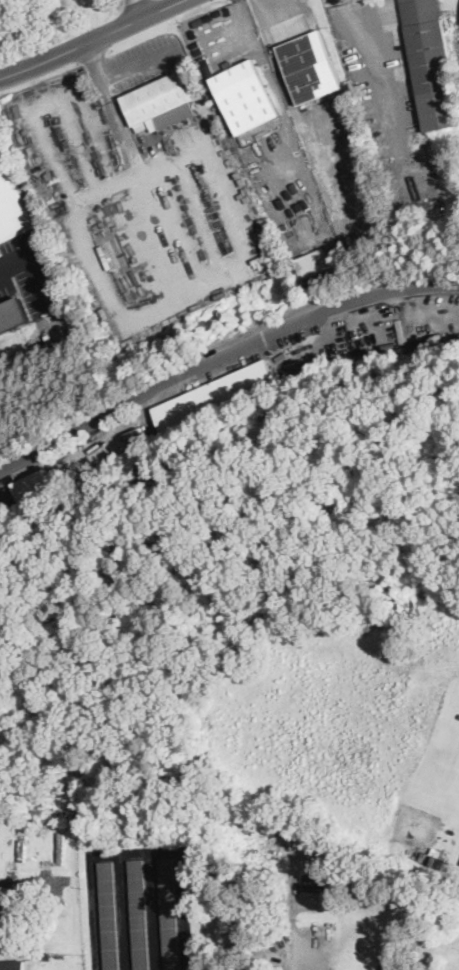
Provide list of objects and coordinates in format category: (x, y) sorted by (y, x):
road: (280, 7)
road: (137, 9)
road: (89, 39)
road: (263, 44)
building: (430, 63)
building: (310, 65)
road: (122, 67)
road: (386, 68)
building: (244, 95)
building: (159, 103)
building: (12, 205)
building: (314, 261)
road: (28, 271)
building: (13, 313)
road: (222, 355)
building: (214, 397)
building: (33, 485)
road: (140, 852)
building: (315, 881)
road: (153, 911)
road: (124, 912)
building: (169, 913)
building: (139, 914)
building: (110, 915)
building: (6, 918)
road: (292, 934)
building: (12, 964)
building: (388, 966)

